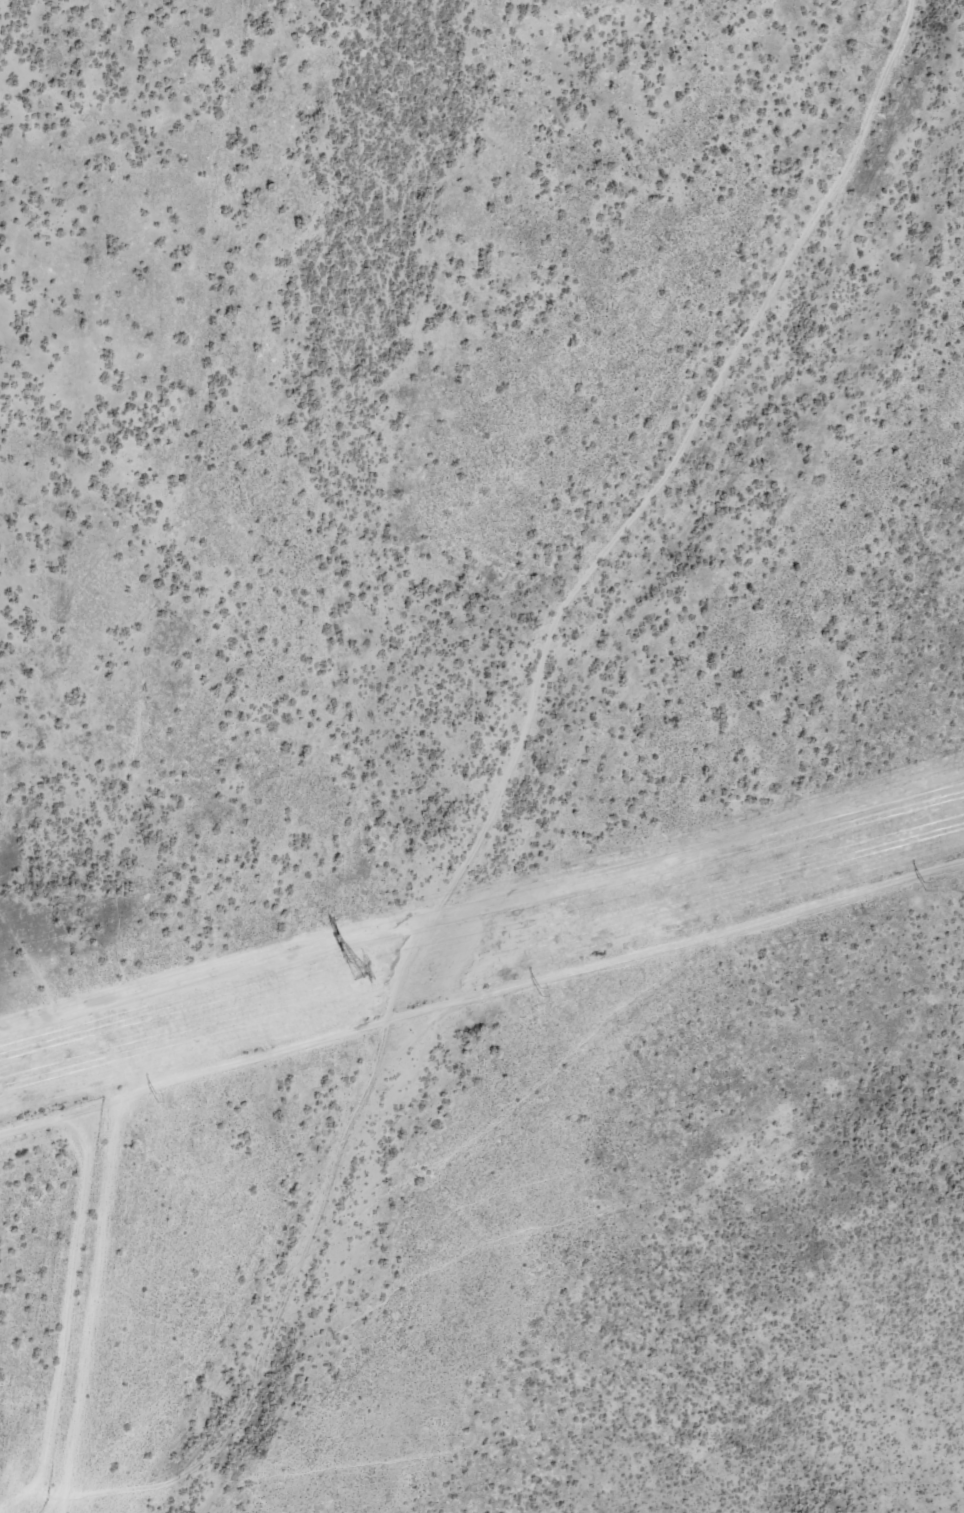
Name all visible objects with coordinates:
road: (785, 212)
power tower: (922, 886)
power tower: (349, 968)
power tower: (539, 991)
road: (388, 1026)
power tower: (154, 1098)

